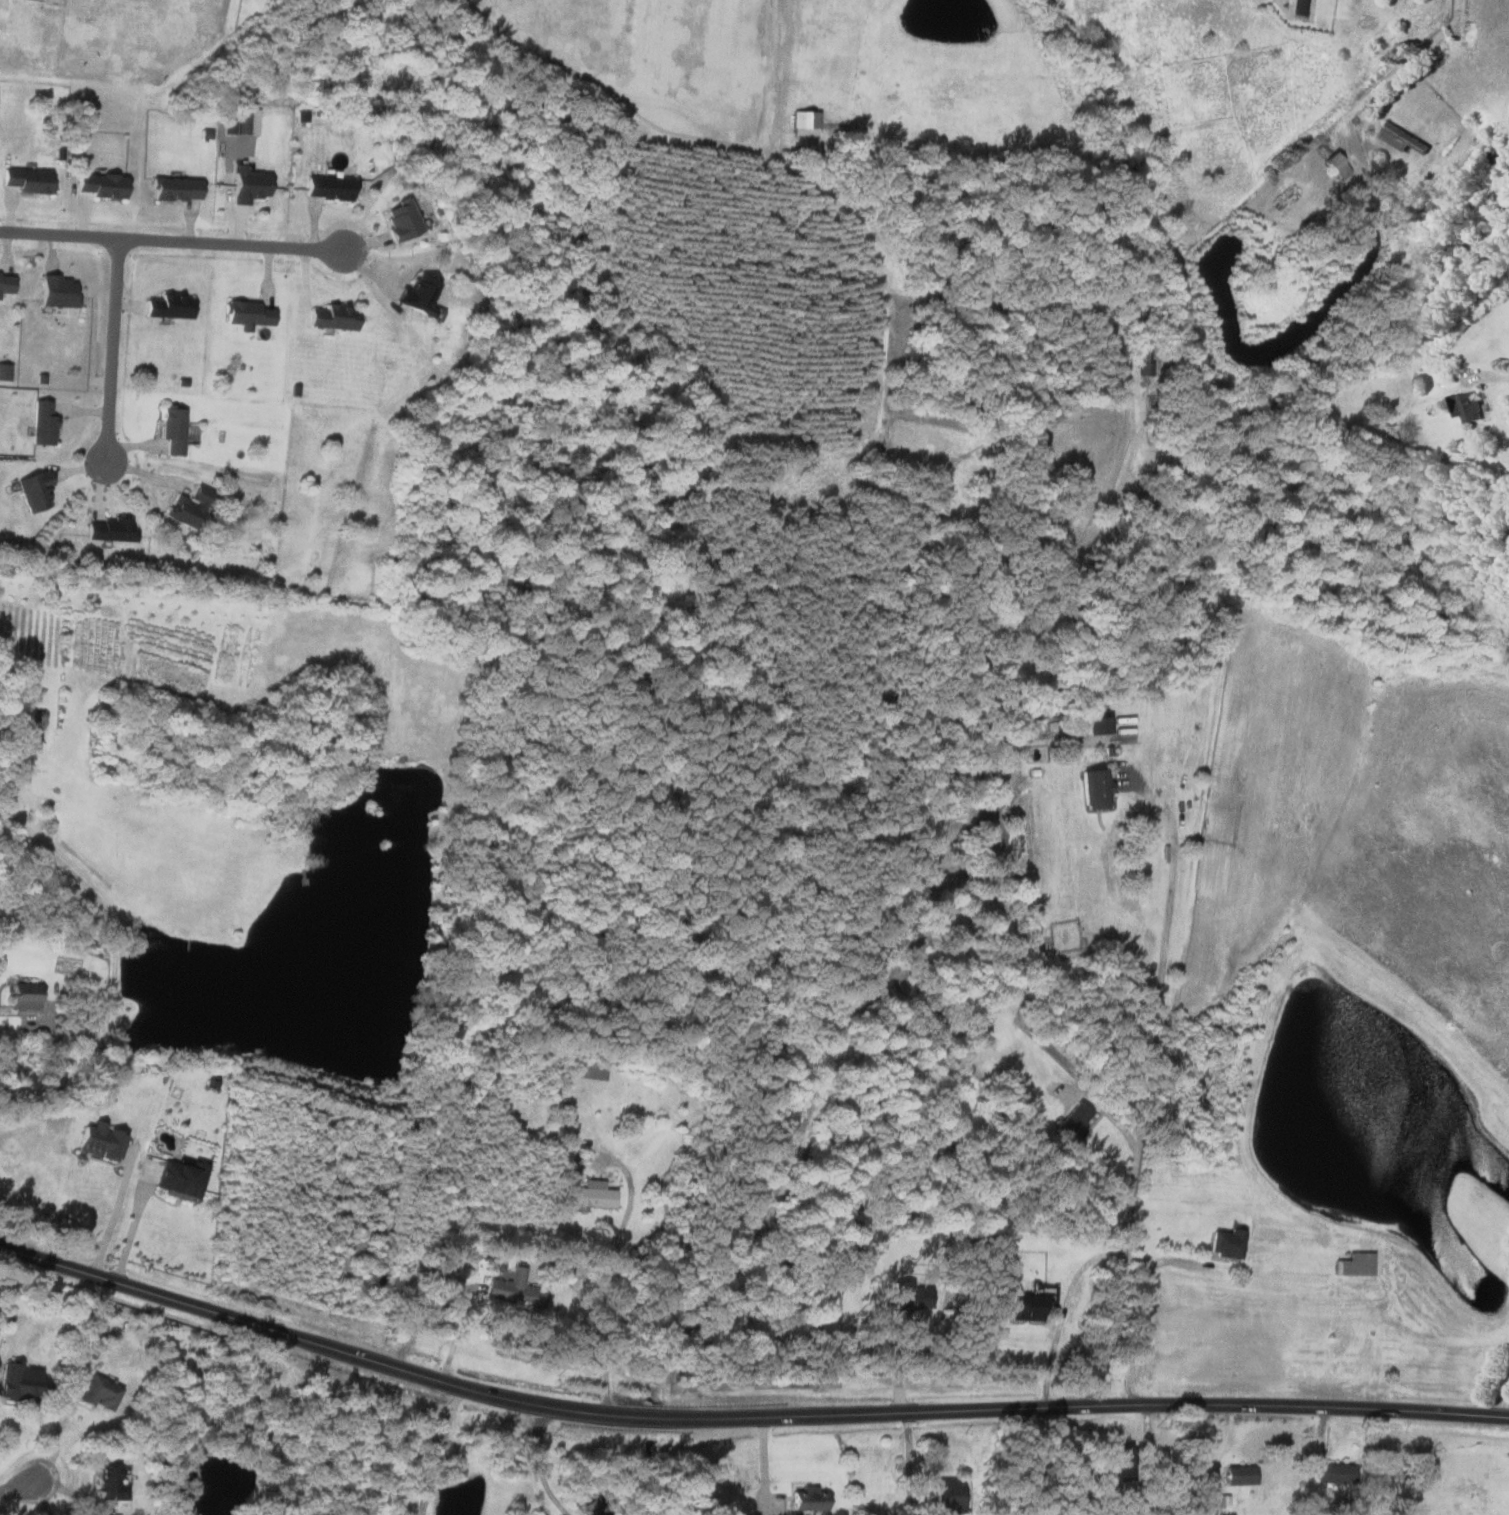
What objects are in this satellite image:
road: (774, 29)
building: (237, 123)
building: (805, 123)
building: (1400, 138)
road: (228, 165)
building: (1336, 166)
building: (25, 180)
building: (99, 185)
building: (248, 185)
building: (328, 188)
building: (174, 190)
road: (234, 219)
building: (400, 220)
road: (173, 243)
building: (5, 283)
building: (57, 292)
building: (416, 296)
building: (169, 307)
building: (246, 314)
building: (333, 318)
road: (116, 352)
road: (1488, 378)
building: (1465, 407)
building: (42, 424)
building: (175, 430)
building: (33, 491)
building: (110, 531)
building: (1095, 724)
building: (1095, 788)
road: (115, 941)
building: (23, 995)
road: (49, 1086)
road: (1146, 1097)
building: (1073, 1121)
building: (98, 1140)
building: (179, 1179)
building: (590, 1195)
road: (113, 1214)
road: (133, 1224)
building: (1227, 1242)
building: (1354, 1264)
road: (607, 1273)
building: (514, 1290)
building: (909, 1296)
building: (1025, 1307)
road: (1141, 1308)
road: (1062, 1313)
road: (455, 1334)
building: (19, 1381)
building: (98, 1392)
road: (1501, 1395)
road: (743, 1417)
road: (58, 1432)
road: (439, 1450)
road: (1040, 1461)
road: (541, 1462)
building: (1120, 1462)
road: (910, 1464)
building: (1334, 1473)
building: (1239, 1475)
building: (108, 1481)
road: (21, 1488)
building: (948, 1496)
road: (43, 1497)
building: (808, 1499)
building: (1218, 1501)

